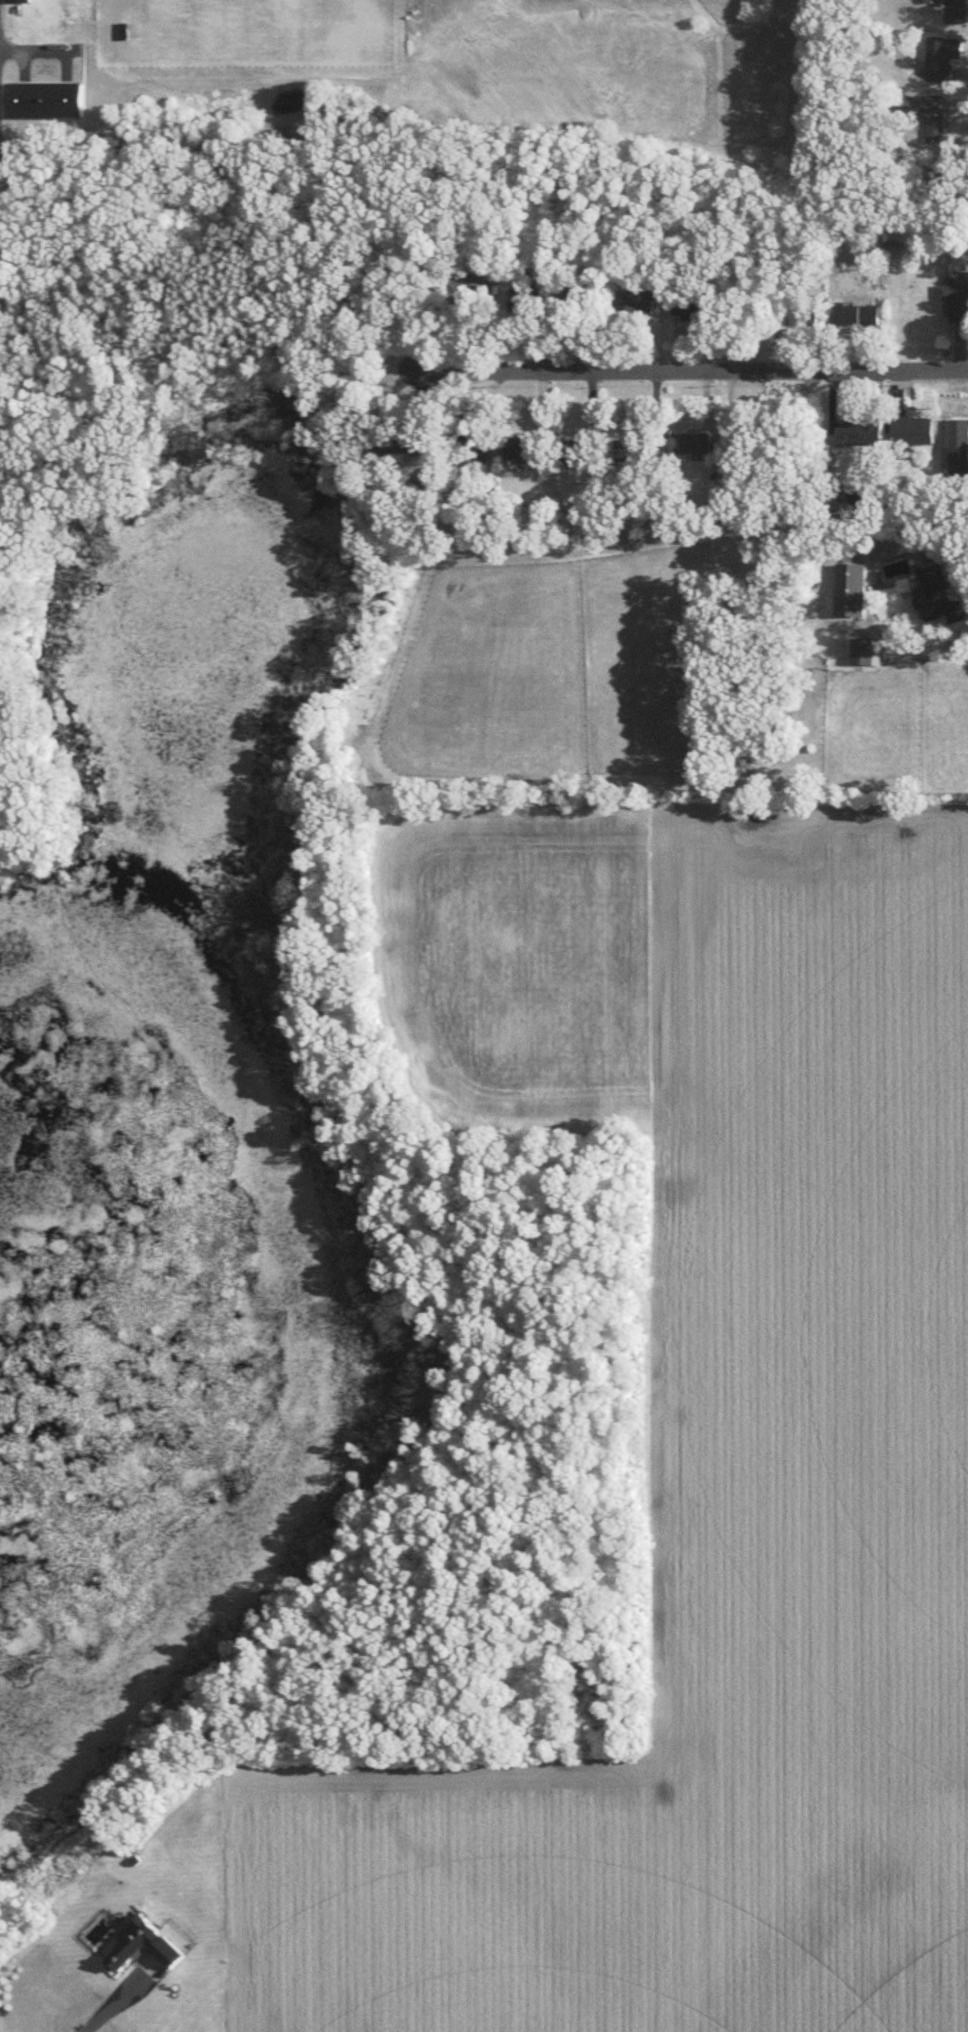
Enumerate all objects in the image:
building: (19, 0)
building: (955, 11)
building: (942, 56)
road: (12, 195)
building: (957, 293)
building: (525, 300)
building: (643, 307)
building: (698, 310)
road: (679, 364)
building: (913, 429)
building: (859, 430)
building: (693, 442)
building: (958, 443)
building: (523, 445)
building: (633, 448)
building: (576, 461)
building: (851, 587)
building: (937, 594)
building: (865, 649)
crop: (507, 950)
crop: (709, 1515)
building: (135, 1858)
building: (142, 1942)
road: (122, 1994)

